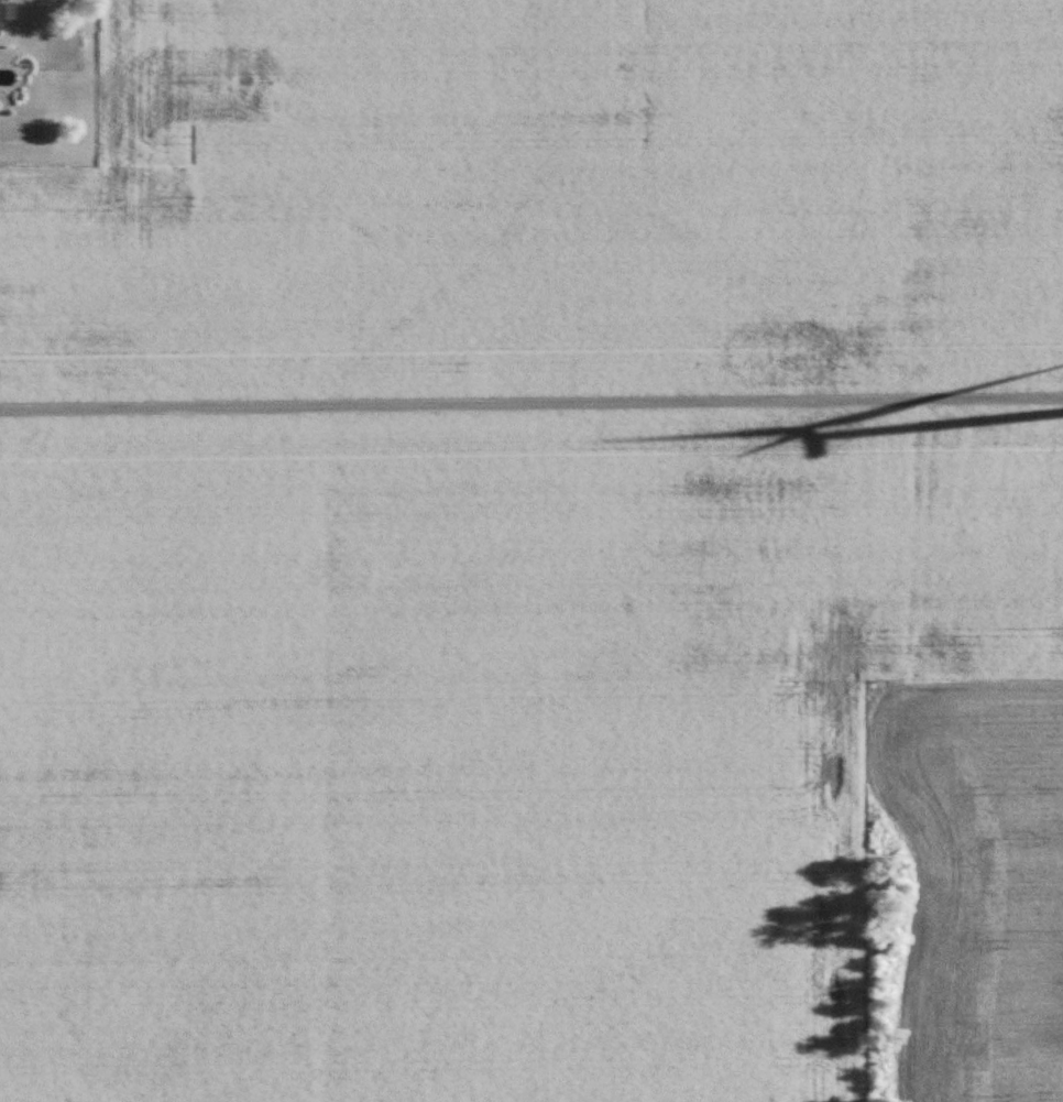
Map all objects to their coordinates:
building: (0, 15)
road: (531, 401)

